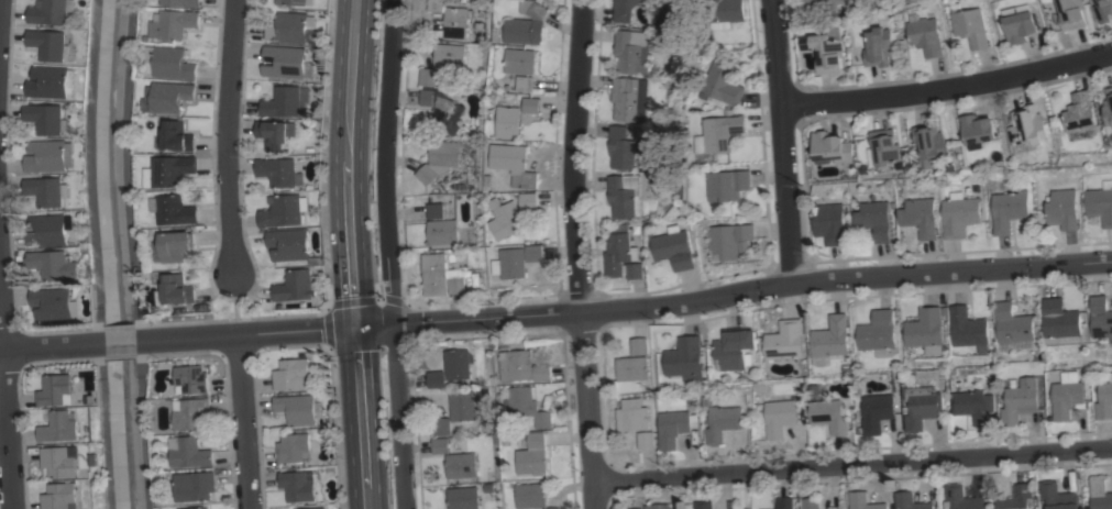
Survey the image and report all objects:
building: (181, 2)
building: (290, 2)
building: (822, 3)
building: (436, 4)
building: (624, 10)
building: (1104, 10)
building: (51, 11)
building: (671, 12)
building: (724, 13)
building: (1074, 13)
building: (456, 21)
building: (174, 23)
building: (526, 24)
building: (971, 25)
building: (1022, 26)
building: (289, 27)
building: (925, 35)
building: (48, 43)
building: (878, 47)
building: (826, 49)
building: (629, 51)
building: (519, 60)
building: (170, 62)
building: (283, 62)
building: (442, 64)
building: (51, 81)
building: (724, 82)
building: (525, 84)
road: (947, 87)
building: (170, 96)
building: (628, 99)
building: (282, 102)
building: (531, 104)
building: (1109, 106)
building: (441, 109)
building: (1080, 112)
building: (46, 118)
building: (508, 122)
building: (1028, 125)
building: (979, 131)
building: (274, 133)
building: (720, 133)
road: (225, 135)
building: (177, 136)
road: (782, 141)
building: (931, 141)
building: (885, 146)
building: (623, 147)
building: (830, 148)
building: (49, 155)
building: (439, 159)
building: (514, 164)
building: (169, 170)
building: (278, 171)
building: (729, 184)
building: (47, 190)
building: (624, 196)
building: (529, 201)
building: (1100, 202)
building: (1009, 209)
building: (1063, 209)
building: (175, 210)
building: (438, 210)
building: (280, 211)
building: (958, 214)
building: (918, 217)
building: (507, 218)
building: (872, 219)
building: (829, 223)
building: (48, 230)
building: (442, 232)
building: (731, 239)
building: (177, 245)
building: (290, 245)
building: (674, 247)
building: (535, 253)
road: (352, 254)
road: (387, 254)
road: (575, 254)
building: (621, 255)
building: (510, 263)
building: (54, 264)
building: (441, 276)
building: (294, 286)
building: (175, 290)
building: (54, 303)
road: (626, 307)
building: (1101, 317)
building: (1060, 319)
building: (1013, 324)
traffic signals: (357, 327)
building: (969, 329)
building: (927, 330)
building: (878, 331)
building: (832, 336)
building: (785, 341)
road: (120, 342)
building: (639, 345)
road: (51, 346)
building: (1015, 346)
building: (735, 348)
building: (685, 359)
building: (522, 367)
building: (450, 368)
building: (631, 368)
building: (291, 374)
building: (191, 379)
building: (56, 390)
building: (1067, 395)
building: (1104, 398)
building: (1020, 400)
building: (464, 406)
building: (527, 406)
building: (921, 406)
building: (973, 406)
building: (296, 409)
road: (5, 412)
building: (190, 412)
building: (877, 412)
building: (829, 414)
building: (779, 417)
building: (631, 418)
road: (243, 422)
building: (723, 422)
building: (441, 425)
building: (59, 427)
building: (674, 427)
building: (646, 440)
building: (440, 445)
building: (293, 449)
building: (190, 452)
building: (533, 455)
building: (60, 460)
road: (851, 464)
building: (461, 465)
building: (195, 486)
building: (296, 486)
building: (1100, 494)
building: (531, 495)
building: (60, 496)
building: (1057, 496)
building: (1015, 497)
building: (462, 498)
building: (958, 498)
building: (863, 501)
building: (910, 501)
building: (783, 502)
building: (811, 504)
building: (703, 505)
building: (657, 506)
building: (195, 508)
building: (316, 508)
building: (553, 508)
building: (637, 508)

